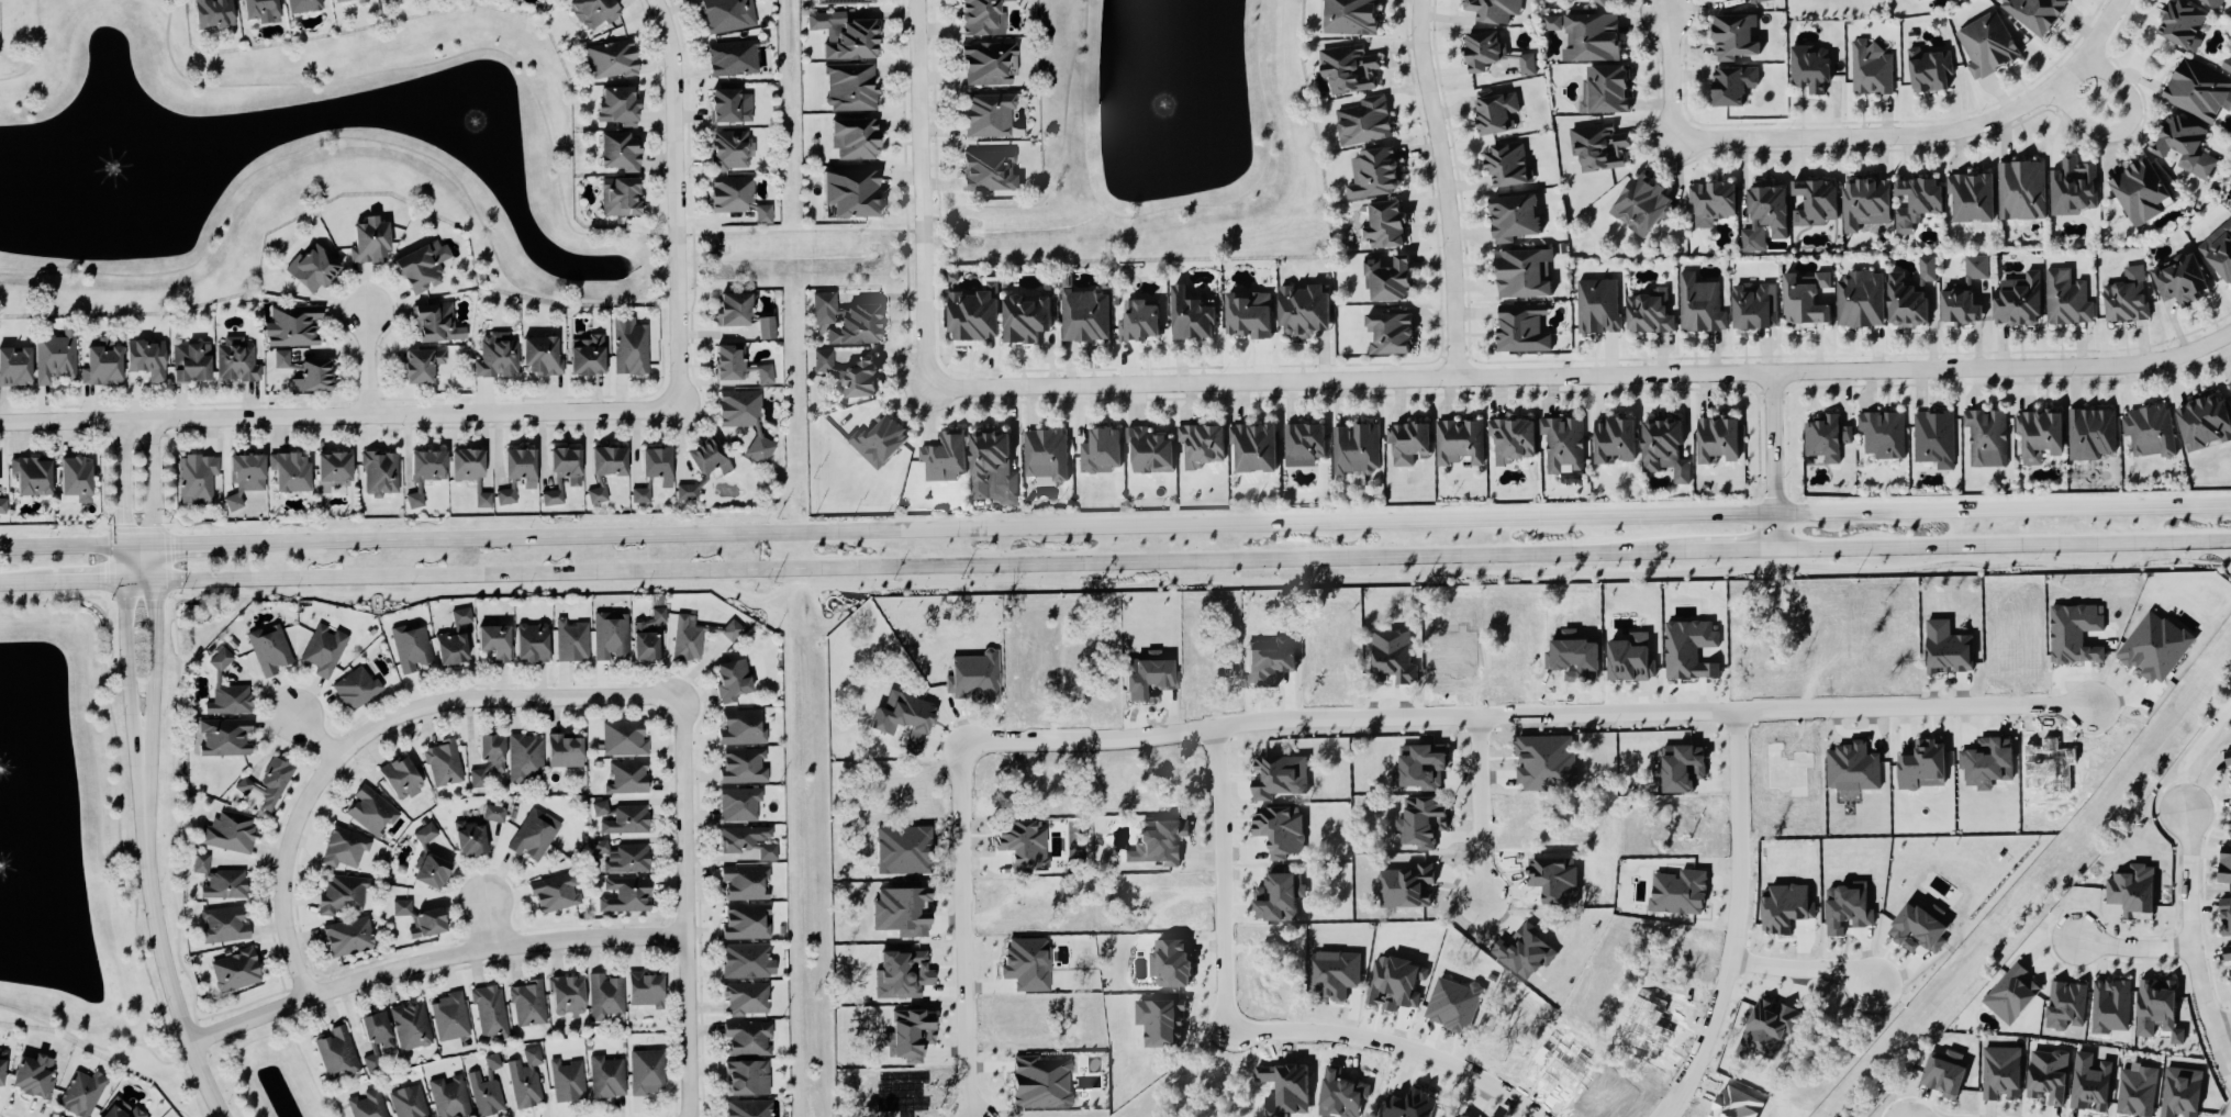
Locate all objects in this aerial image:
building: (1916, 0)
building: (1758, 1)
building: (343, 2)
building: (844, 2)
building: (1599, 2)
building: (2210, 3)
building: (301, 5)
building: (256, 9)
building: (1491, 10)
building: (591, 13)
building: (2031, 13)
building: (210, 14)
building: (725, 15)
building: (975, 18)
building: (1347, 18)
building: (1552, 23)
building: (2177, 24)
building: (1588, 38)
building: (1732, 38)
building: (849, 42)
building: (1984, 46)
road: (36, 51)
building: (1481, 52)
building: (728, 57)
building: (609, 62)
building: (984, 65)
building: (2226, 65)
building: (1524, 66)
building: (1346, 70)
building: (1808, 70)
building: (1867, 71)
building: (1926, 71)
road: (1673, 77)
building: (1729, 87)
building: (847, 88)
building: (1604, 91)
building: (2196, 93)
fountain: (1170, 101)
building: (614, 107)
building: (724, 108)
road: (540, 110)
building: (1496, 112)
building: (984, 118)
building: (1361, 122)
fountain: (479, 125)
road: (2128, 130)
road: (337, 137)
road: (1928, 137)
building: (852, 138)
building: (2182, 148)
building: (1595, 150)
building: (727, 152)
building: (615, 153)
building: (1505, 166)
fountain: (115, 170)
building: (986, 171)
building: (1371, 175)
road: (1050, 182)
road: (1447, 189)
building: (2070, 189)
building: (2019, 192)
building: (848, 194)
road: (924, 194)
building: (2138, 194)
building: (733, 198)
building: (617, 199)
building: (1968, 199)
building: (1914, 201)
building: (1708, 202)
building: (1811, 204)
building: (1862, 204)
road: (677, 205)
building: (1639, 206)
road: (1168, 208)
road: (659, 209)
building: (1762, 219)
building: (1511, 220)
building: (1382, 226)
building: (367, 242)
building: (2218, 253)
building: (420, 267)
building: (1975, 267)
building: (1925, 269)
building: (310, 270)
building: (1520, 275)
building: (1385, 280)
building: (2177, 281)
building: (1856, 300)
building: (1803, 301)
building: (2064, 301)
building: (2017, 302)
building: (2122, 302)
building: (1903, 304)
building: (1697, 306)
building: (1753, 306)
building: (1595, 308)
building: (1957, 310)
building: (728, 311)
building: (1301, 312)
building: (1649, 312)
building: (971, 316)
building: (1245, 316)
building: (1083, 317)
building: (1187, 317)
road: (660, 319)
building: (1022, 321)
building: (847, 322)
building: (1136, 322)
building: (431, 324)
building: (290, 325)
building: (761, 328)
building: (1520, 329)
building: (1387, 334)
building: (632, 350)
building: (494, 357)
building: (52, 358)
building: (537, 358)
building: (585, 358)
building: (143, 361)
building: (234, 361)
building: (99, 364)
building: (726, 364)
building: (188, 365)
road: (368, 366)
building: (417, 367)
building: (13, 368)
building: (302, 372)
building: (847, 375)
building: (762, 376)
road: (1583, 378)
building: (2229, 386)
road: (622, 394)
road: (341, 418)
building: (741, 421)
building: (2201, 424)
building: (2146, 433)
building: (1881, 434)
building: (2090, 434)
building: (2039, 436)
building: (1823, 437)
building: (1984, 437)
building: (1931, 438)
building: (877, 440)
building: (1511, 440)
building: (1302, 442)
building: (1406, 443)
building: (1611, 443)
building: (1715, 443)
building: (1457, 444)
building: (1658, 444)
building: (1201, 445)
building: (1562, 445)
building: (1250, 449)
building: (1353, 450)
building: (1146, 453)
building: (1097, 454)
building: (1042, 456)
building: (707, 457)
building: (942, 458)
building: (604, 462)
building: (989, 462)
road: (1777, 462)
building: (464, 465)
building: (562, 465)
building: (424, 467)
building: (652, 467)
building: (330, 468)
building: (516, 468)
building: (288, 473)
building: (244, 474)
building: (378, 474)
building: (1678, 474)
building: (29, 478)
building: (198, 479)
building: (72, 481)
road: (123, 483)
road: (154, 483)
building: (505, 494)
building: (481, 500)
building: (1, 507)
road: (1615, 527)
road: (62, 533)
road: (613, 535)
road: (191, 544)
road: (77, 546)
road: (2004, 547)
road: (1719, 552)
road: (1328, 561)
road: (105, 562)
road: (123, 563)
road: (156, 563)
road: (576, 574)
road: (141, 582)
road: (31, 583)
road: (92, 583)
road: (114, 597)
road: (53, 601)
building: (460, 616)
building: (730, 630)
building: (2073, 634)
building: (609, 636)
building: (646, 636)
building: (685, 638)
building: (491, 641)
building: (570, 641)
building: (529, 644)
building: (411, 647)
building: (448, 648)
building: (269, 649)
building: (322, 651)
building: (1950, 652)
building: (220, 659)
building: (1628, 659)
building: (1267, 660)
road: (130, 674)
building: (1147, 675)
building: (972, 678)
building: (730, 681)
building: (356, 689)
road: (154, 699)
building: (226, 701)
road: (1524, 715)
building: (901, 717)
road: (381, 727)
building: (740, 728)
road: (319, 736)
building: (223, 737)
building: (622, 740)
building: (561, 751)
road: (2187, 753)
building: (2227, 758)
building: (525, 759)
building: (486, 760)
building: (1985, 762)
building: (443, 763)
building: (741, 767)
building: (1419, 767)
building: (1920, 767)
building: (626, 778)
building: (399, 779)
building: (265, 783)
road: (144, 791)
building: (737, 805)
road: (1477, 807)
building: (601, 809)
building: (370, 813)
building: (492, 814)
building: (625, 820)
building: (2230, 828)
building: (228, 831)
building: (424, 834)
building: (533, 836)
building: (468, 839)
building: (1159, 841)
building: (746, 845)
building: (343, 848)
building: (618, 859)
building: (428, 871)
road: (1220, 876)
building: (217, 880)
building: (745, 883)
building: (1405, 889)
building: (2131, 892)
building: (554, 893)
building: (1678, 893)
building: (342, 895)
building: (624, 895)
building: (1276, 896)
road: (689, 907)
building: (400, 908)
building: (1785, 908)
building: (2223, 916)
road: (1734, 920)
building: (746, 921)
building: (424, 924)
building: (222, 925)
road: (490, 927)
road: (963, 930)
building: (1916, 930)
building: (346, 937)
road: (2132, 949)
road: (2191, 949)
building: (2227, 960)
road: (434, 961)
building: (746, 961)
road: (167, 970)
road: (1803, 970)
building: (233, 971)
building: (900, 973)
building: (643, 990)
building: (2010, 994)
building: (565, 996)
building: (604, 998)
building: (746, 998)
building: (527, 1004)
building: (2064, 1006)
building: (2109, 1006)
road: (331, 1009)
building: (488, 1010)
building: (2155, 1010)
road: (303, 1013)
building: (447, 1017)
road: (2220, 1024)
building: (410, 1026)
building: (375, 1030)
building: (907, 1034)
road: (270, 1035)
building: (746, 1038)
road: (1392, 1045)
road: (98, 1046)
road: (2224, 1048)
road: (209, 1053)
building: (335, 1053)
building: (490, 1063)
building: (369, 1064)
building: (0, 1065)
building: (1999, 1072)
building: (645, 1073)
building: (1942, 1073)
building: (2045, 1075)
building: (32, 1076)
building: (605, 1077)
building: (524, 1079)
building: (744, 1079)
building: (566, 1081)
building: (1039, 1083)
building: (2088, 1084)
building: (2135, 1091)
building: (2179, 1093)
building: (81, 1094)
building: (482, 1095)
building: (447, 1097)
building: (406, 1102)
building: (366, 1104)
building: (1409, 1105)
building: (747, 1108)
building: (119, 1109)
building: (1462, 1115)

